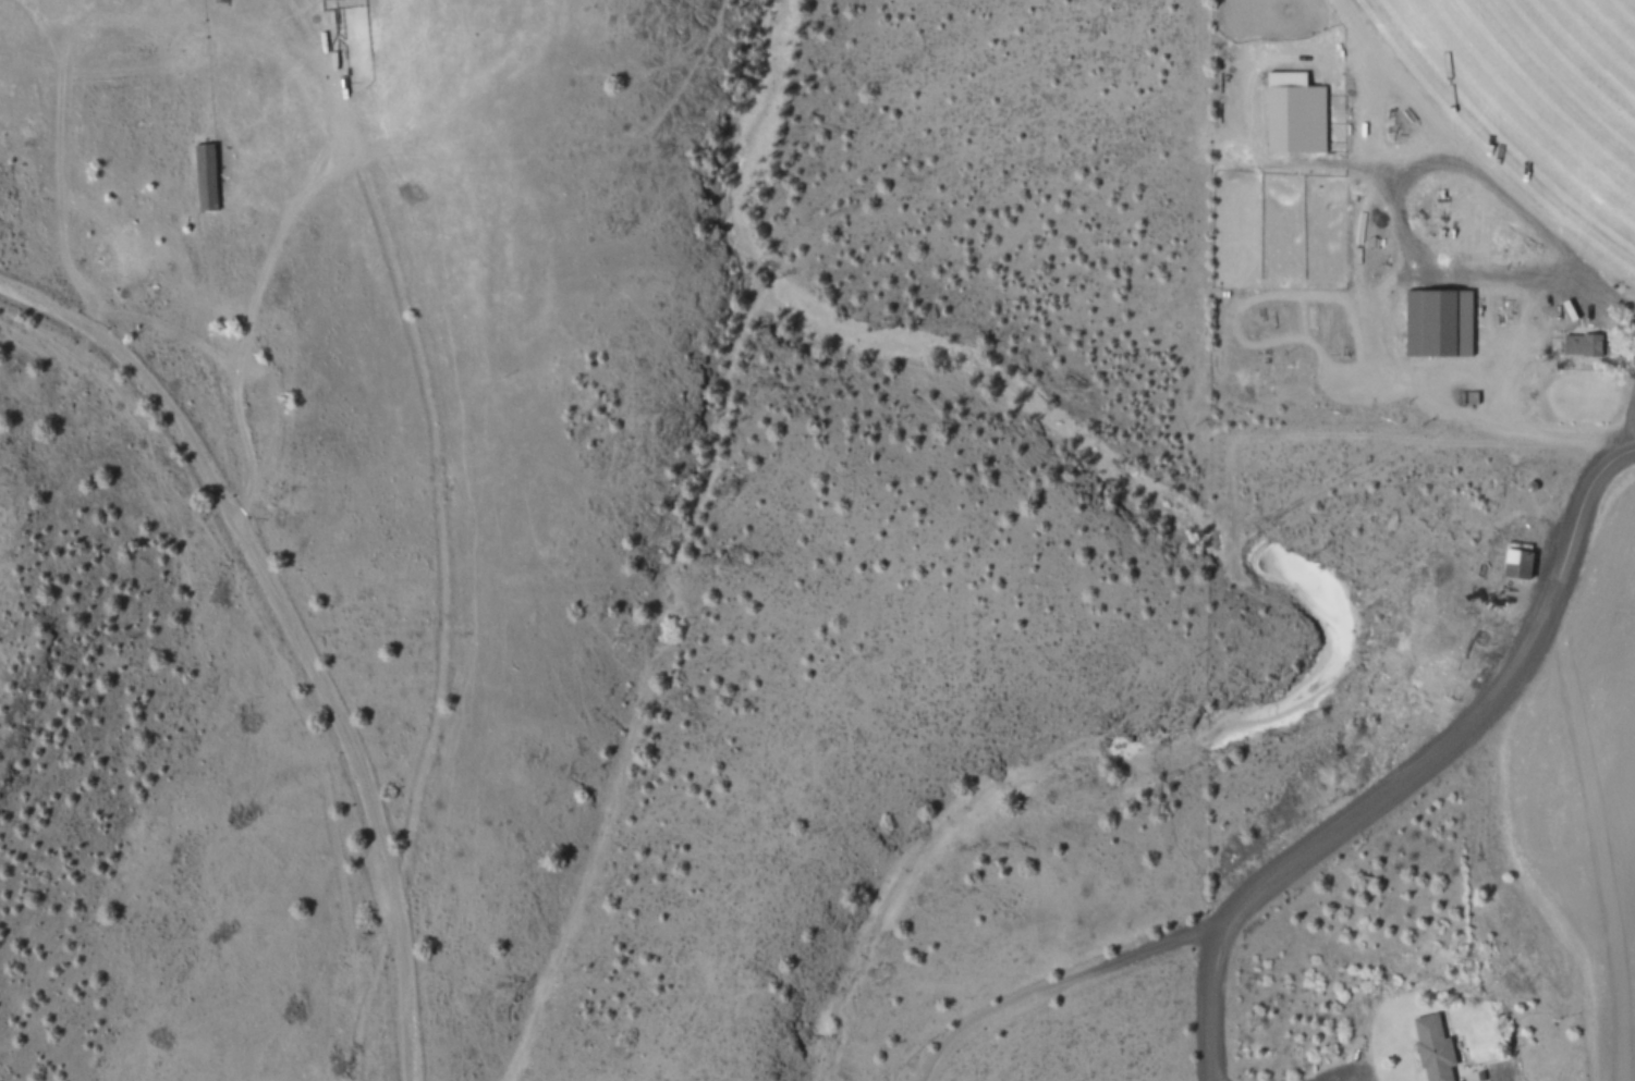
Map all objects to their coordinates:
crop: (1560, 74)
building: (1297, 118)
building: (206, 176)
building: (1439, 321)
building: (1582, 344)
road: (1621, 452)
building: (1520, 563)
road: (293, 632)
road: (1462, 729)
crop: (1614, 790)
road: (1059, 982)
road: (1211, 1004)
building: (1436, 1047)

